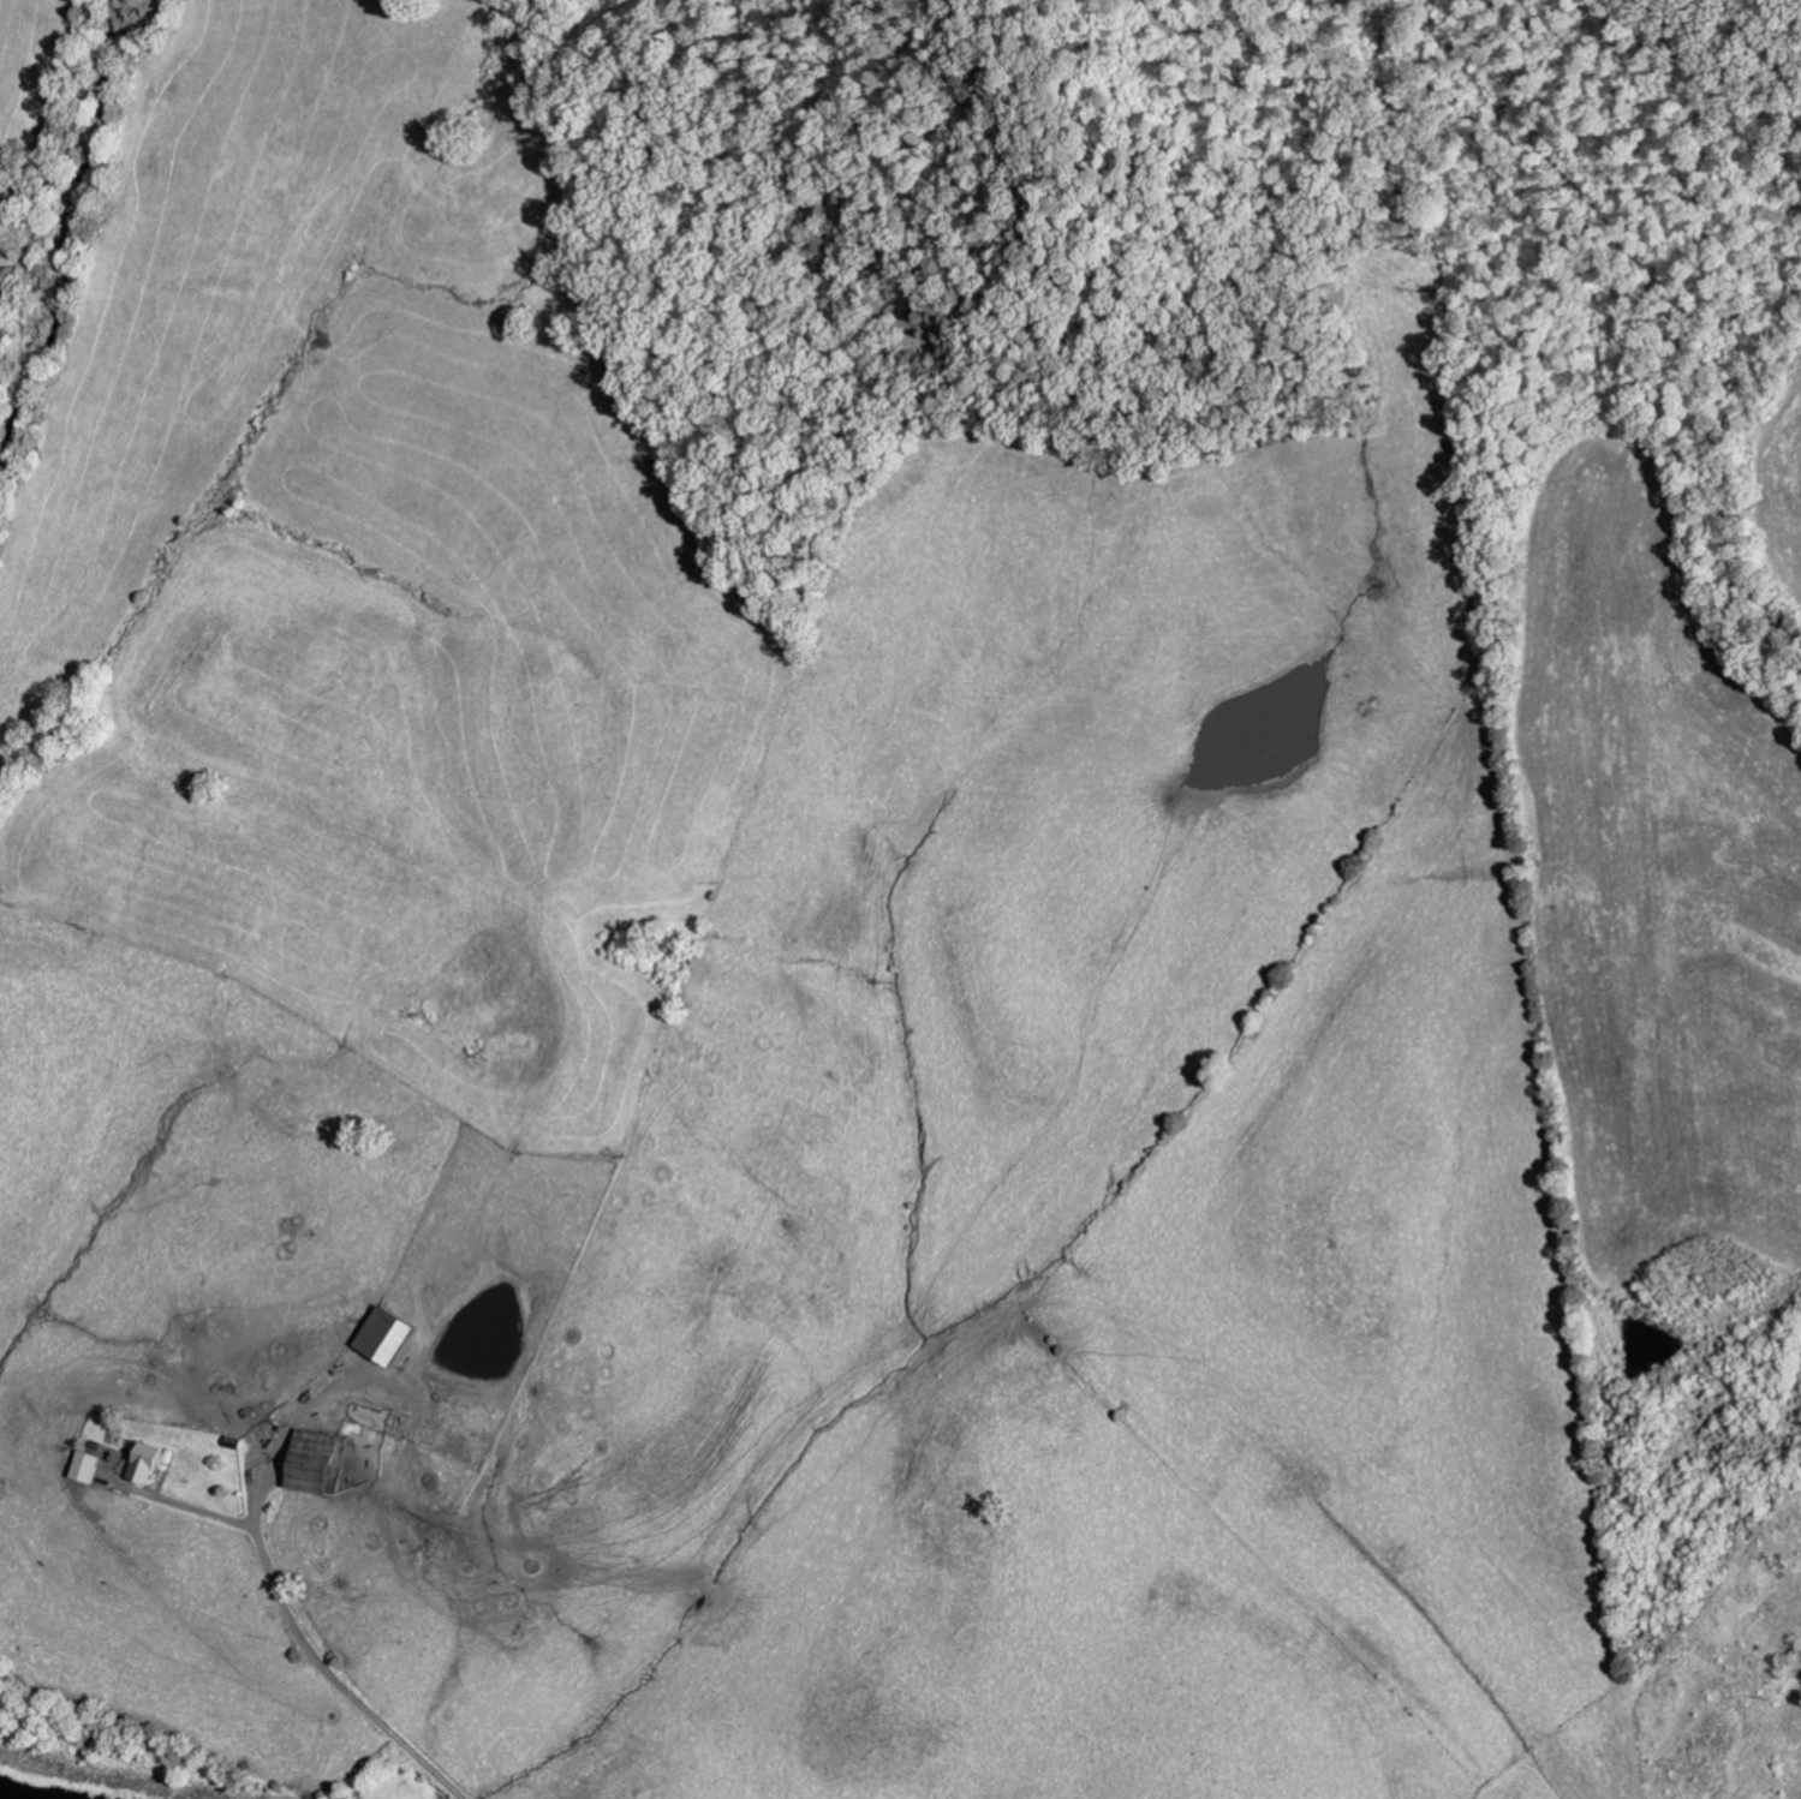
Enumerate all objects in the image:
building: (389, 1333)
building: (148, 1460)
building: (317, 1460)

